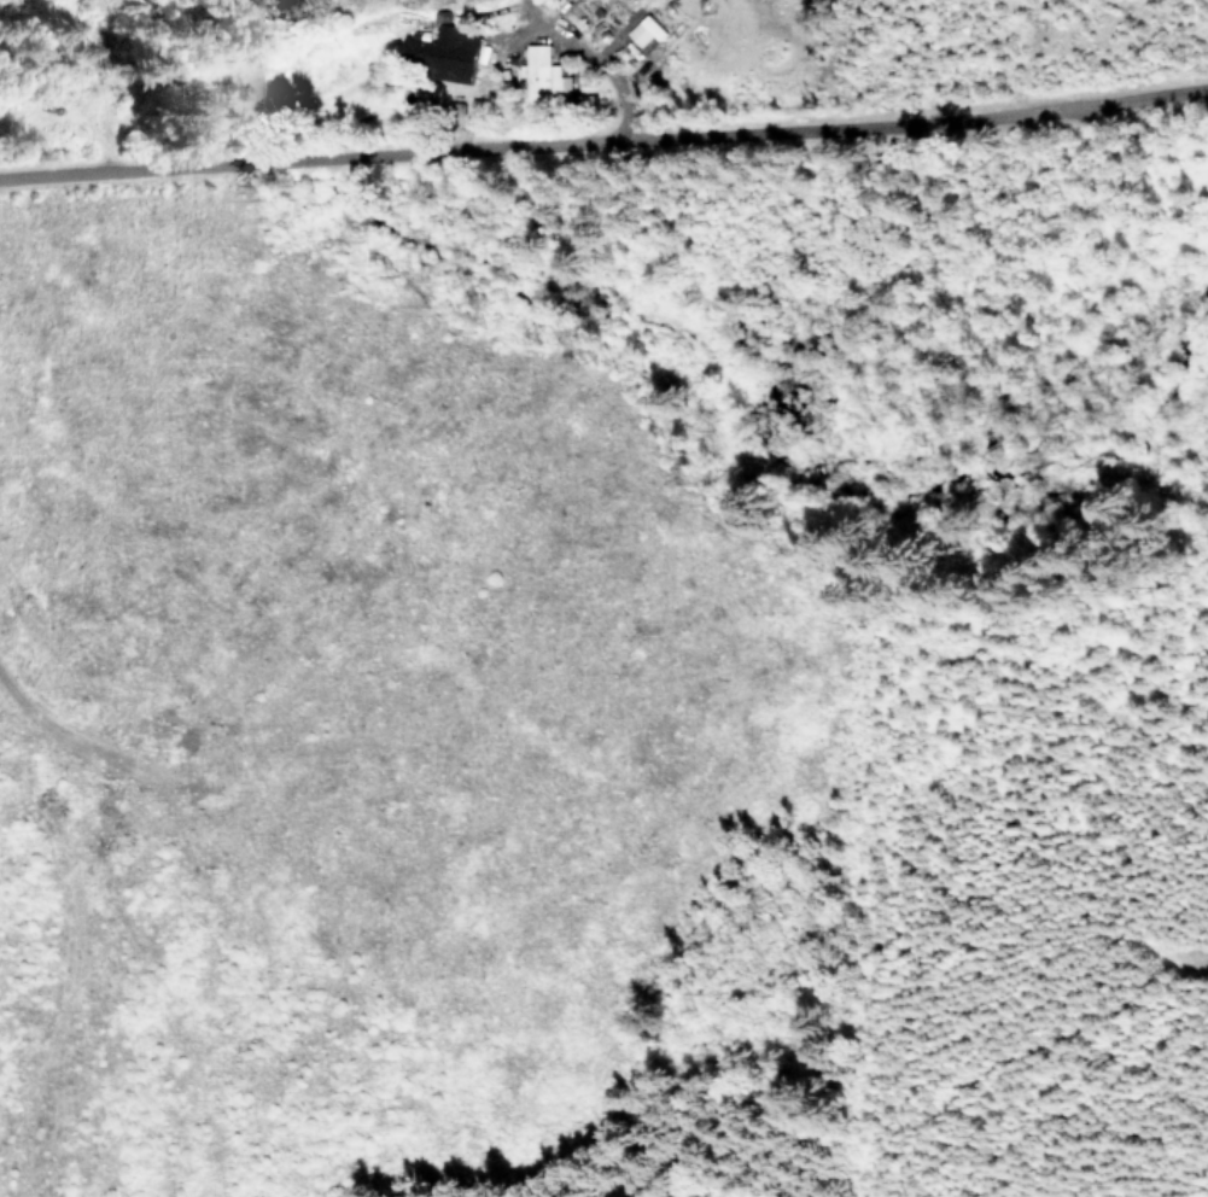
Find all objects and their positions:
building: (646, 30)
building: (442, 51)
building: (543, 72)
road: (605, 139)

